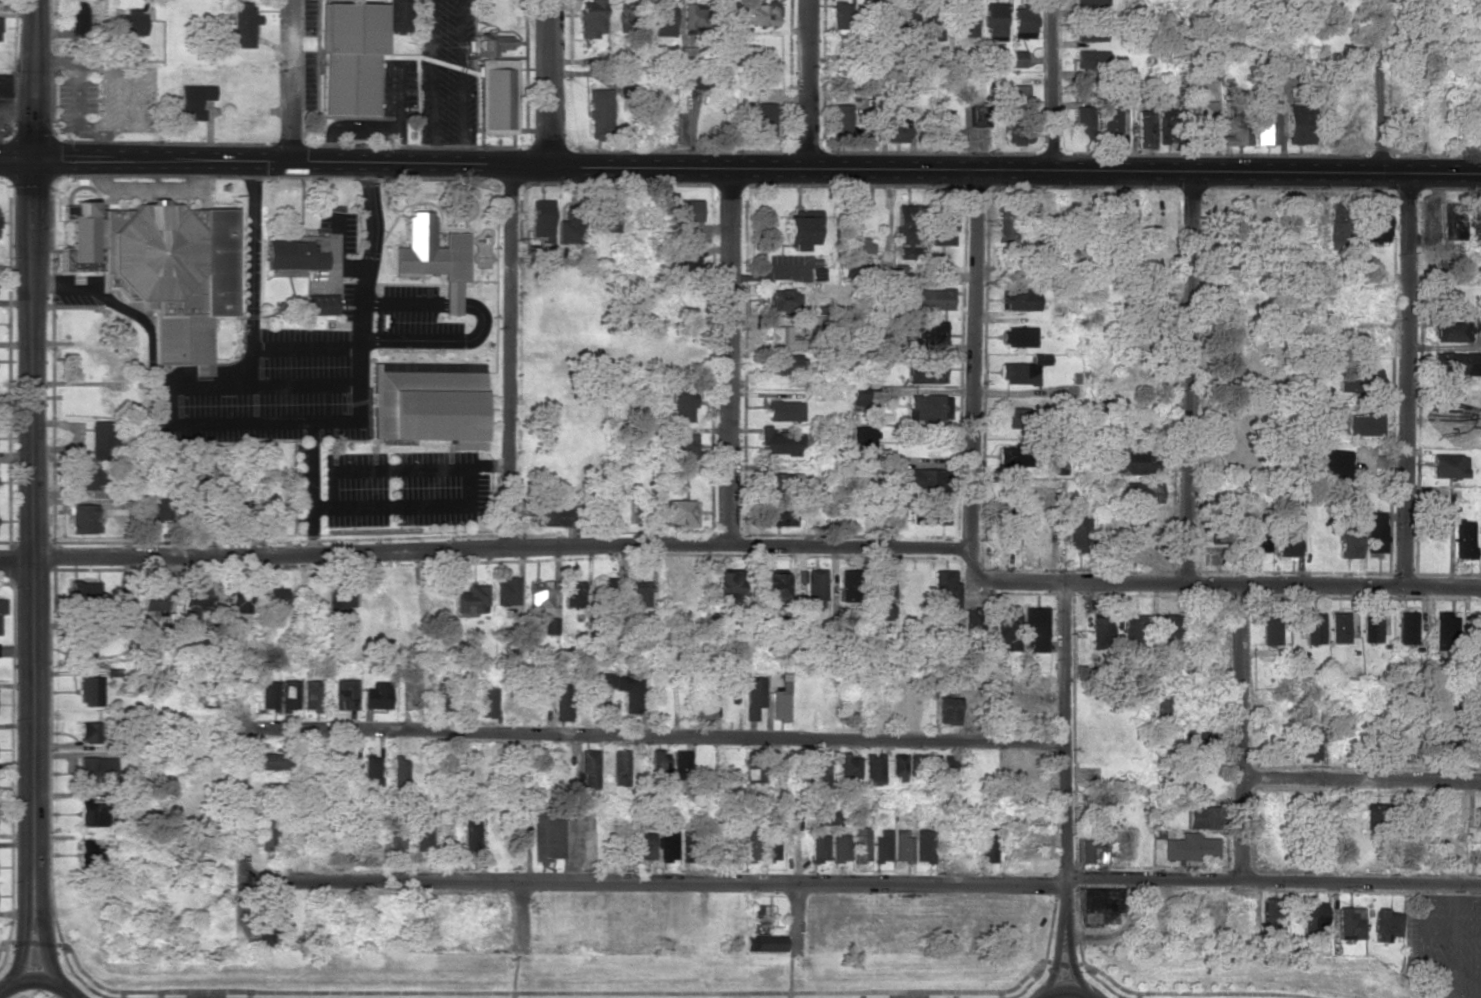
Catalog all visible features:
building: (1090, 2)
building: (399, 15)
building: (626, 15)
building: (758, 15)
building: (839, 17)
building: (870, 17)
building: (591, 18)
building: (689, 18)
building: (661, 19)
building: (964, 19)
building: (78, 20)
building: (995, 20)
building: (1023, 21)
building: (0, 22)
building: (130, 23)
building: (244, 24)
building: (931, 24)
building: (1090, 32)
building: (493, 43)
building: (686, 55)
building: (350, 57)
building: (1018, 58)
building: (1090, 59)
road: (34, 81)
building: (698, 81)
road: (290, 82)
road: (548, 83)
building: (3, 84)
road: (810, 86)
road: (1054, 86)
road: (1382, 87)
building: (496, 96)
building: (193, 100)
building: (597, 113)
building: (1019, 115)
building: (841, 118)
building: (764, 119)
building: (1265, 120)
building: (1082, 123)
building: (1203, 123)
building: (1110, 124)
building: (1297, 125)
building: (896, 126)
building: (1144, 128)
road: (17, 161)
road: (271, 164)
road: (528, 167)
road: (1014, 172)
road: (154, 189)
building: (686, 210)
building: (1124, 215)
building: (603, 218)
building: (540, 220)
building: (1453, 220)
building: (1376, 221)
building: (1004, 223)
building: (943, 226)
building: (1337, 226)
building: (569, 227)
building: (799, 228)
parking lot: (337, 231)
building: (906, 231)
building: (417, 248)
building: (859, 248)
road: (331, 249)
building: (295, 253)
building: (685, 264)
building: (162, 267)
road: (347, 268)
road: (252, 274)
building: (815, 274)
parking lot: (316, 282)
parking lot: (73, 299)
building: (932, 299)
building: (1019, 299)
building: (778, 300)
building: (320, 304)
road: (480, 321)
building: (1477, 327)
building: (1450, 331)
building: (929, 333)
building: (1017, 336)
building: (782, 339)
road: (306, 348)
road: (510, 357)
road: (731, 357)
road: (976, 361)
building: (782, 363)
building: (1457, 363)
building: (925, 372)
building: (1018, 373)
road: (1192, 378)
building: (1357, 379)
road: (1408, 381)
parking lot: (308, 382)
road: (166, 384)
building: (859, 399)
building: (429, 402)
building: (682, 403)
road: (360, 407)
building: (926, 407)
building: (783, 410)
building: (1016, 416)
building: (1360, 424)
building: (99, 440)
building: (778, 442)
building: (862, 442)
building: (682, 446)
building: (924, 449)
building: (1013, 455)
building: (1133, 460)
building: (1330, 462)
building: (1448, 466)
road: (402, 469)
building: (923, 478)
building: (89, 479)
building: (780, 481)
road: (312, 487)
parking lot: (405, 489)
building: (1142, 492)
road: (410, 506)
building: (893, 507)
building: (154, 510)
building: (676, 512)
building: (933, 514)
building: (776, 515)
building: (552, 516)
building: (82, 519)
road: (34, 520)
building: (1004, 526)
building: (1224, 526)
building: (1375, 532)
building: (1077, 533)
building: (1255, 537)
building: (1348, 539)
building: (1463, 539)
building: (1287, 540)
road: (486, 548)
road: (1212, 583)
building: (814, 584)
building: (770, 585)
building: (848, 585)
building: (724, 586)
building: (83, 590)
building: (506, 592)
building: (572, 593)
building: (945, 593)
building: (638, 594)
building: (881, 594)
building: (539, 596)
building: (276, 597)
building: (471, 601)
building: (341, 602)
building: (153, 603)
building: (193, 603)
building: (239, 604)
building: (2, 606)
building: (972, 620)
building: (1445, 624)
building: (550, 625)
building: (1477, 625)
building: (1007, 627)
building: (1339, 627)
building: (1372, 627)
building: (1314, 628)
building: (1407, 628)
building: (1271, 629)
building: (1034, 630)
building: (1135, 630)
building: (1100, 631)
building: (1167, 632)
building: (84, 645)
building: (623, 689)
building: (90, 690)
building: (268, 694)
building: (289, 694)
building: (310, 694)
building: (345, 694)
building: (377, 695)
building: (753, 696)
building: (442, 697)
building: (561, 702)
building: (487, 703)
building: (704, 704)
building: (776, 704)
building: (1157, 708)
building: (949, 710)
road: (1242, 731)
building: (89, 732)
road: (657, 736)
building: (1199, 741)
building: (1436, 741)
building: (1310, 742)
road: (1065, 747)
building: (753, 757)
building: (275, 761)
building: (658, 763)
building: (680, 764)
building: (618, 767)
building: (848, 767)
building: (899, 767)
building: (94, 769)
building: (585, 769)
building: (874, 769)
building: (948, 769)
building: (513, 770)
building: (370, 772)
building: (399, 773)
building: (820, 774)
road: (1362, 777)
road: (248, 781)
building: (92, 813)
building: (1371, 816)
building: (826, 817)
building: (1200, 817)
building: (1476, 817)
building: (1100, 822)
building: (422, 830)
building: (471, 834)
building: (265, 836)
building: (548, 836)
building: (395, 840)
building: (860, 844)
building: (667, 845)
building: (727, 845)
building: (760, 845)
building: (881, 845)
building: (923, 845)
building: (985, 845)
building: (625, 846)
building: (646, 846)
building: (689, 846)
building: (902, 846)
building: (1083, 847)
building: (818, 848)
building: (839, 848)
building: (88, 849)
building: (1190, 849)
road: (865, 884)
building: (1100, 900)
building: (1272, 911)
building: (1312, 916)
road: (525, 918)
building: (760, 919)
building: (1349, 923)
road: (797, 924)
building: (268, 925)
building: (1386, 925)
road: (23, 937)
road: (44, 937)
building: (765, 944)
road: (1056, 957)
road: (1069, 958)
road: (33, 979)
road: (1066, 990)
road: (658, 991)
road: (70, 994)
road: (71, 994)

